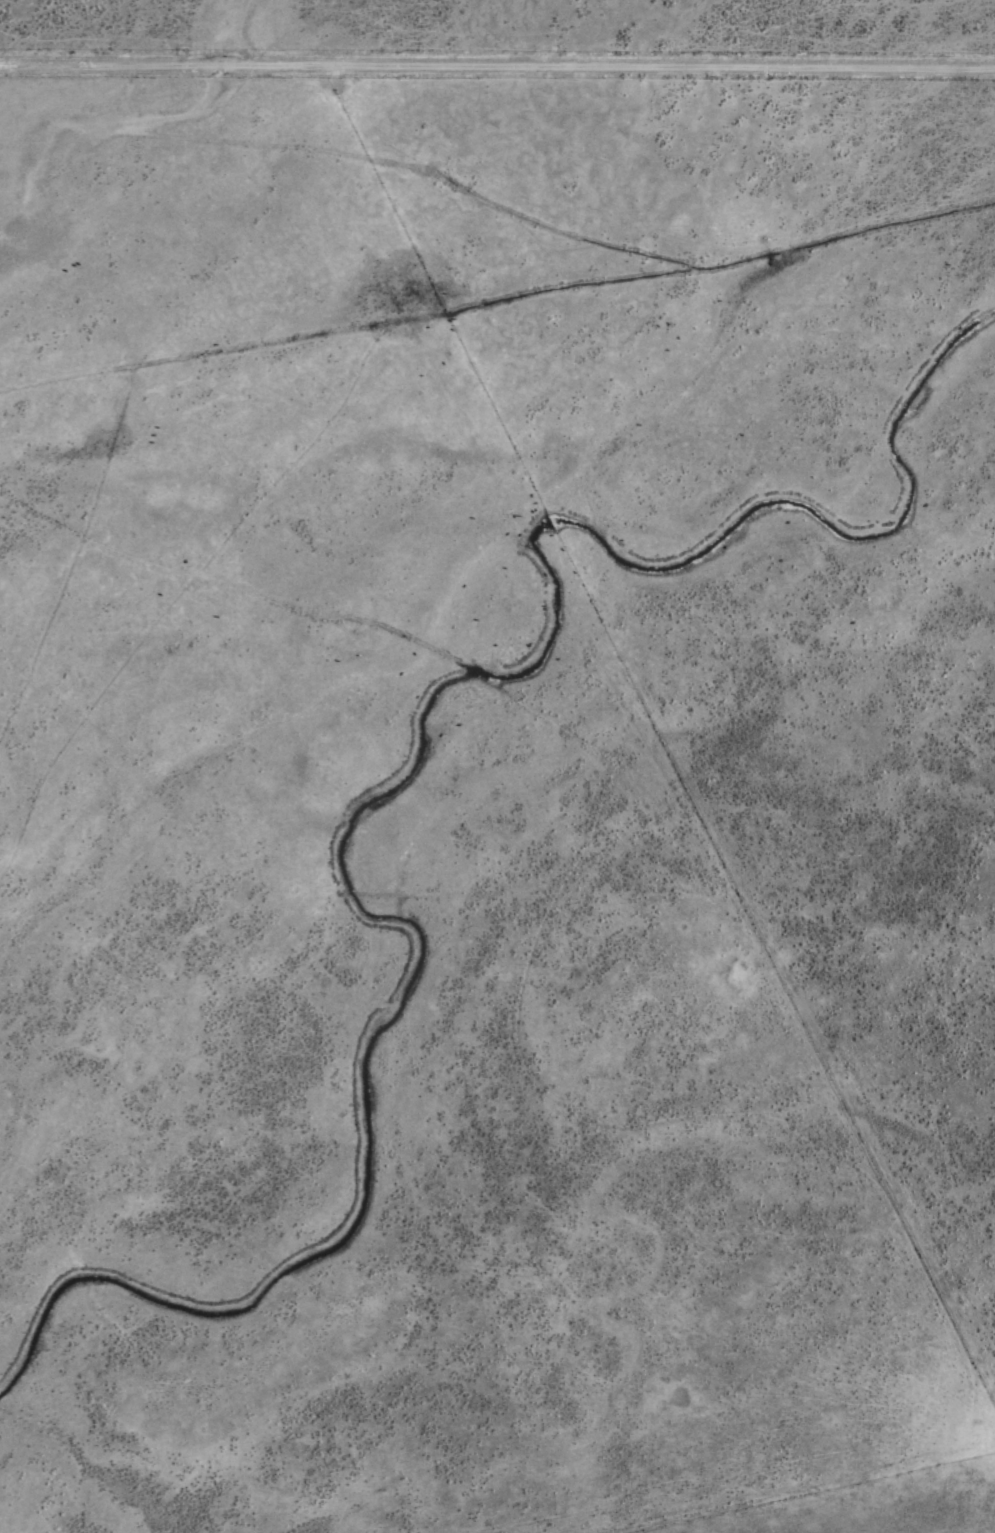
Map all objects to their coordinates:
road: (497, 59)
crop: (497, 766)

